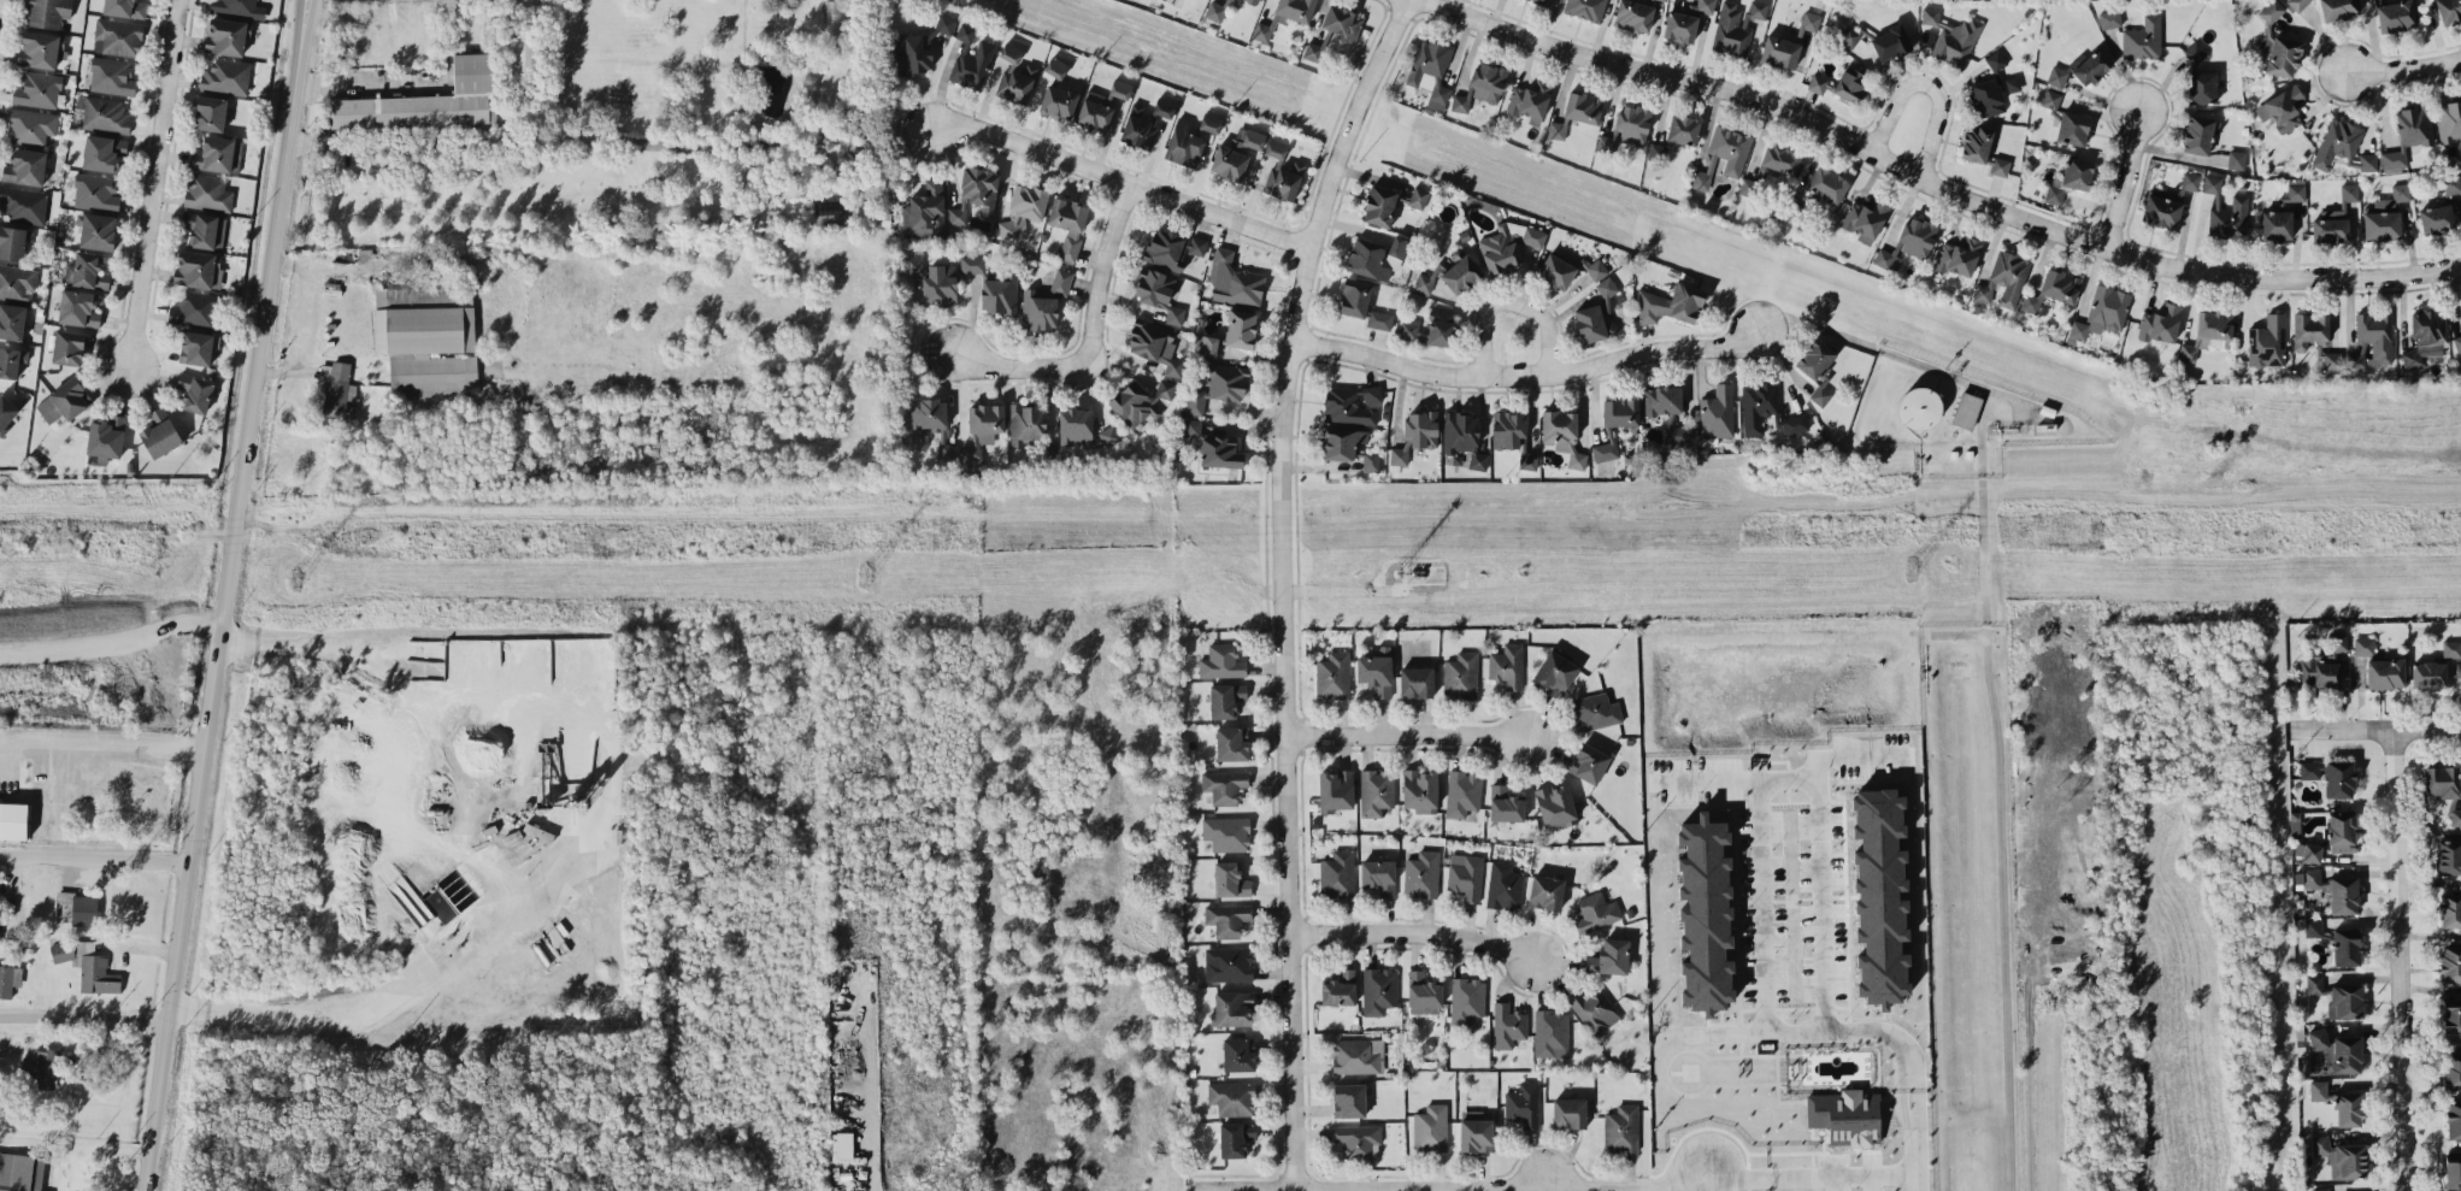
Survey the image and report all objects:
building: (1255, 0)
building: (1665, 0)
building: (1546, 1)
building: (2297, 4)
building: (125, 7)
building: (239, 7)
building: (1585, 8)
building: (2337, 8)
building: (2448, 10)
building: (1214, 11)
building: (2271, 11)
building: (46, 12)
building: (2395, 14)
building: (1284, 16)
building: (1633, 16)
building: (2109, 18)
building: (1809, 20)
building: (1342, 22)
building: (1736, 23)
building: (1679, 26)
building: (117, 36)
building: (1951, 36)
building: (2143, 39)
building: (1890, 42)
building: (919, 47)
building: (41, 48)
building: (1011, 52)
building: (1779, 52)
building: (2195, 53)
building: (525, 54)
building: (2282, 55)
building: (970, 59)
building: (1995, 59)
building: (1055, 66)
building: (2090, 66)
road: (2402, 70)
building: (1431, 71)
building: (111, 76)
building: (225, 76)
building: (2056, 76)
building: (1488, 82)
building: (1015, 83)
building: (1817, 83)
building: (2012, 83)
building: (1851, 84)
road: (367, 86)
building: (2202, 87)
building: (1120, 88)
road: (1926, 88)
building: (37, 89)
building: (1986, 96)
building: (1531, 99)
building: (2050, 99)
building: (428, 100)
building: (1058, 101)
building: (1462, 101)
building: (1583, 107)
building: (2282, 108)
building: (1095, 111)
building: (210, 113)
building: (105, 114)
building: (2448, 119)
building: (1144, 122)
building: (1211, 123)
building: (1633, 123)
building: (30, 125)
building: (2072, 128)
building: (1556, 129)
building: (1683, 129)
building: (2200, 134)
building: (2408, 134)
building: (1606, 142)
building: (1976, 143)
building: (1183, 145)
building: (1276, 147)
building: (1730, 148)
building: (1656, 151)
building: (102, 152)
building: (1236, 153)
building: (218, 154)
building: (1780, 158)
building: (2236, 159)
building: (2368, 161)
building: (25, 166)
building: (1998, 166)
building: (2077, 172)
road: (1120, 173)
building: (1283, 178)
building: (1698, 178)
road: (2123, 179)
building: (2190, 181)
road: (148, 183)
road: (1927, 183)
building: (1826, 184)
building: (2451, 184)
building: (1748, 185)
building: (2296, 189)
building: (95, 190)
building: (207, 191)
building: (976, 193)
building: (2054, 194)
building: (1418, 196)
building: (1028, 201)
building: (22, 202)
building: (1379, 205)
building: (925, 210)
building: (2161, 211)
building: (2225, 211)
building: (829, 212)
building: (2385, 216)
building: (2335, 218)
building: (2436, 218)
building: (1865, 219)
building: (1068, 224)
building: (2277, 225)
building: (205, 229)
building: (96, 230)
building: (13, 241)
building: (1908, 242)
building: (1508, 244)
building: (1397, 246)
building: (1171, 248)
building: (1959, 257)
building: (1367, 259)
building: (913, 264)
building: (972, 264)
building: (198, 269)
building: (1596, 269)
building: (86, 271)
building: (1555, 271)
building: (1461, 273)
building: (1234, 281)
building: (1426, 281)
building: (2003, 281)
building: (17, 282)
building: (940, 282)
building: (2053, 289)
building: (1159, 293)
building: (999, 294)
building: (1354, 297)
road: (1508, 300)
building: (1671, 303)
building: (194, 307)
building: (78, 308)
building: (2102, 312)
building: (1596, 316)
building: (1378, 319)
building: (12, 320)
building: (2160, 323)
road: (310, 324)
building: (1430, 328)
building: (2207, 331)
road: (1090, 332)
building: (1231, 332)
building: (2310, 332)
building: (2375, 332)
building: (2425, 336)
building: (2267, 341)
building: (2457, 343)
building: (1154, 344)
building: (67, 347)
building: (198, 347)
building: (430, 347)
road: (1901, 356)
building: (1815, 358)
building: (11, 360)
building: (2332, 360)
building: (2356, 360)
road: (1525, 373)
building: (1219, 387)
building: (337, 389)
building: (194, 391)
building: (1820, 395)
building: (64, 400)
building: (1662, 400)
building: (1140, 401)
building: (1350, 403)
building: (1919, 407)
building: (1766, 408)
building: (1966, 409)
building: (7, 411)
building: (1620, 412)
building: (1717, 412)
building: (928, 413)
building: (1075, 425)
building: (1191, 426)
building: (982, 429)
building: (1030, 429)
building: (160, 432)
building: (1415, 434)
building: (1562, 434)
building: (1676, 434)
building: (1108, 435)
building: (1512, 436)
building: (106, 438)
building: (1462, 438)
building: (1342, 442)
building: (1603, 450)
building: (947, 452)
building: (1219, 452)
building: (1370, 460)
power tower: (1948, 571)
power tower: (1402, 574)
power tower: (846, 578)
power tower: (294, 580)
road: (1279, 583)
road: (224, 595)
road: (1957, 635)
building: (2336, 644)
building: (2363, 645)
building: (2451, 648)
building: (1221, 661)
building: (1507, 665)
building: (2315, 666)
building: (1376, 671)
building: (1554, 673)
building: (2385, 673)
building: (2428, 674)
building: (1332, 676)
building: (1460, 676)
building: (1415, 682)
building: (1226, 698)
building: (1595, 711)
road: (2380, 726)
road: (1402, 735)
road: (134, 743)
building: (1231, 743)
building: (1589, 762)
building: (2308, 770)
building: (2339, 778)
building: (2442, 782)
building: (1224, 785)
road: (1998, 788)
building: (1335, 790)
building: (1420, 790)
building: (1376, 791)
building: (1462, 792)
building: (1505, 804)
building: (1555, 804)
building: (2455, 816)
building: (12, 820)
building: (2342, 831)
building: (538, 832)
building: (1226, 833)
road: (478, 851)
building: (2310, 853)
building: (2449, 856)
road: (94, 857)
building: (1337, 873)
building: (1421, 873)
building: (1379, 874)
building: (1465, 875)
building: (1230, 879)
road: (1755, 883)
building: (1503, 886)
building: (1546, 891)
building: (2343, 895)
building: (1879, 896)
building: (84, 909)
building: (2449, 909)
building: (1595, 912)
building: (1705, 914)
building: (1227, 919)
building: (2313, 927)
road: (1409, 932)
building: (2347, 947)
building: (1609, 957)
road: (2407, 959)
building: (1227, 963)
building: (2450, 963)
building: (88, 966)
building: (6, 980)
building: (2314, 984)
building: (1340, 987)
building: (1378, 990)
building: (1423, 991)
building: (1466, 1000)
building: (2345, 1001)
building: (1232, 1008)
building: (1594, 1009)
road: (84, 1010)
building: (2451, 1015)
building: (1507, 1025)
building: (1550, 1033)
building: (2316, 1038)
building: (1238, 1054)
building: (2347, 1054)
building: (1355, 1055)
building: (25, 1065)
building: (45, 1068)
building: (2451, 1069)
building: (1232, 1097)
building: (1349, 1099)
building: (2339, 1103)
building: (1523, 1104)
building: (1568, 1113)
building: (1845, 1115)
building: (2453, 1119)
building: (1430, 1127)
building: (1621, 1128)
building: (1476, 1131)
building: (1235, 1138)
building: (1359, 1140)
building: (844, 1144)
road: (872, 1156)
building: (2342, 1157)
building: (2, 1158)
building: (2453, 1171)
building: (25, 1172)
road: (1829, 1174)
road: (1919, 1181)
road: (1464, 1184)
building: (2320, 1189)

